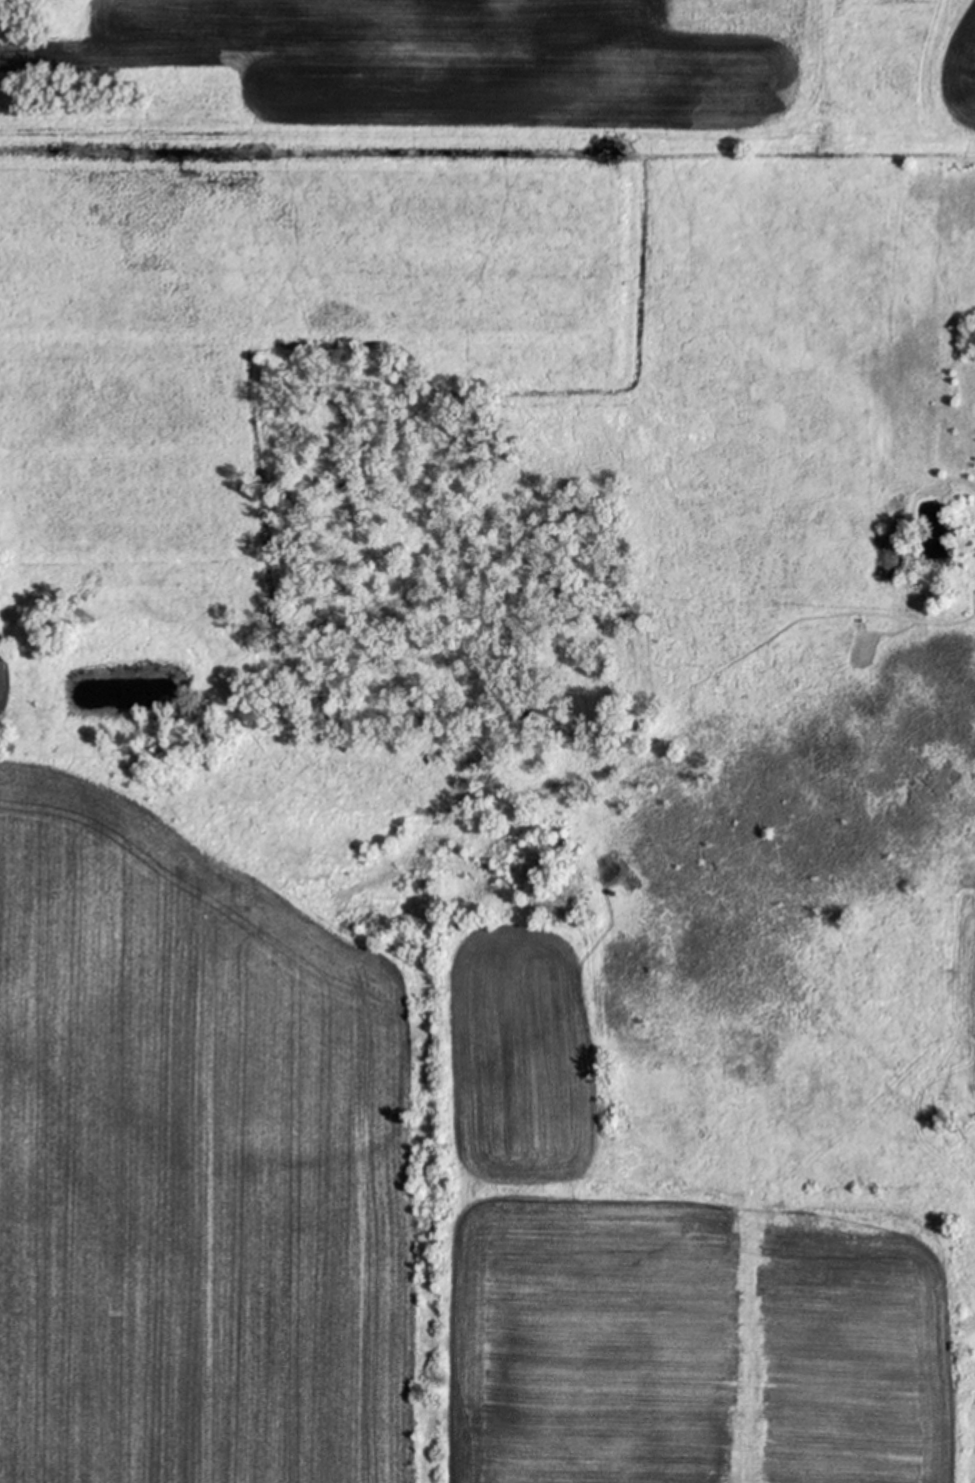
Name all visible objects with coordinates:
building: (858, 621)
building: (475, 860)
building: (466, 877)
building: (459, 927)

